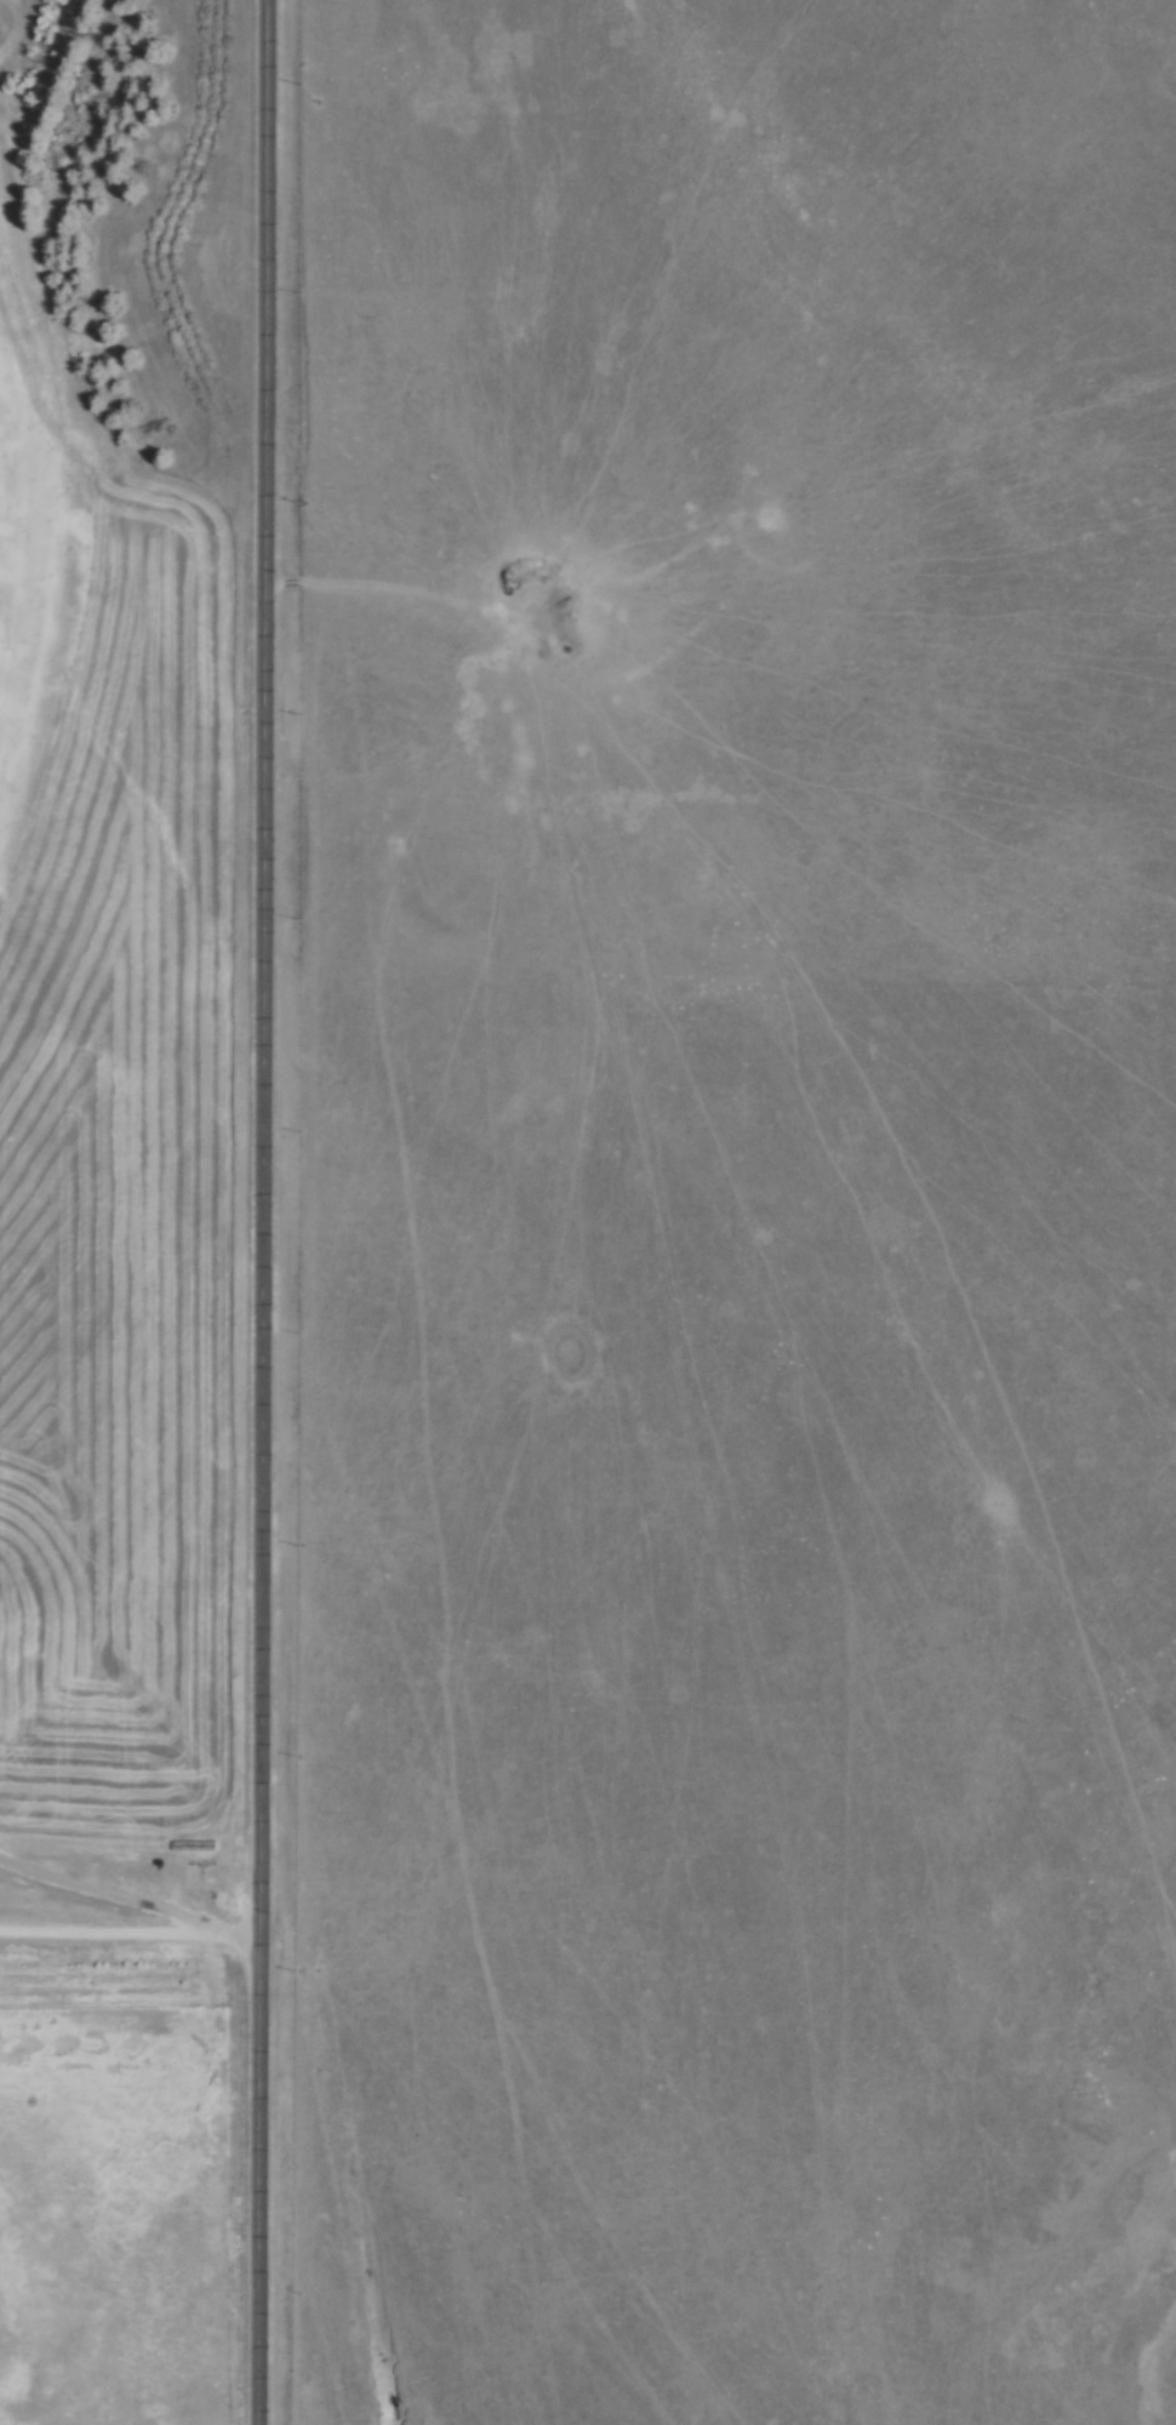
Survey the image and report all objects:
road: (263, 1212)
road: (131, 1932)

